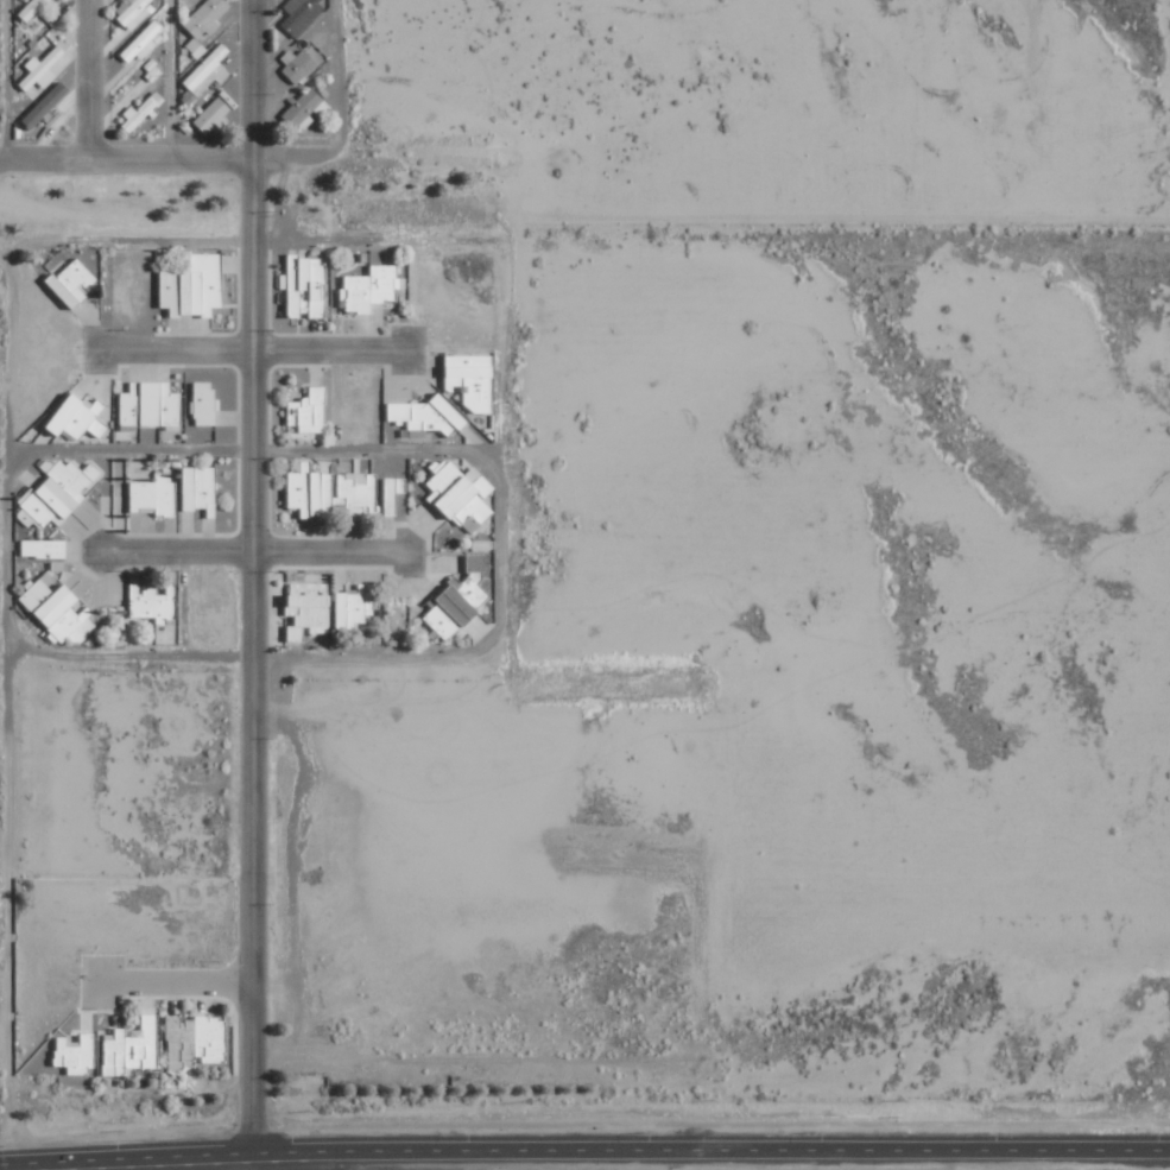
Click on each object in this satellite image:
building: (31, 10)
building: (134, 11)
building: (301, 14)
building: (205, 18)
building: (144, 43)
building: (195, 48)
building: (34, 64)
building: (297, 64)
building: (209, 71)
road: (81, 78)
building: (304, 108)
building: (143, 110)
building: (211, 115)
road: (166, 156)
road: (4, 246)
building: (74, 283)
building: (304, 285)
building: (195, 287)
building: (372, 289)
road: (171, 348)
road: (325, 348)
building: (473, 381)
building: (204, 403)
building: (150, 405)
building: (308, 412)
building: (426, 417)
building: (80, 418)
building: (200, 489)
building: (329, 491)
building: (57, 494)
building: (153, 495)
building: (462, 497)
building: (44, 549)
road: (327, 554)
road: (176, 555)
road: (252, 584)
building: (460, 600)
building: (153, 602)
building: (355, 607)
building: (58, 611)
building: (309, 611)
road: (10, 708)
road: (178, 984)
building: (197, 1041)
building: (133, 1048)
road: (715, 1150)

